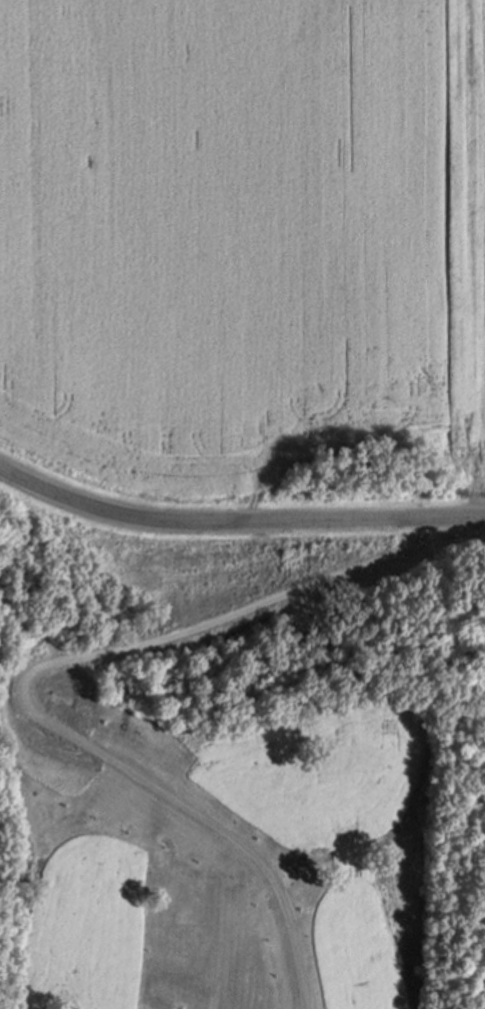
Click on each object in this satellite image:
road: (237, 523)
road: (242, 626)

